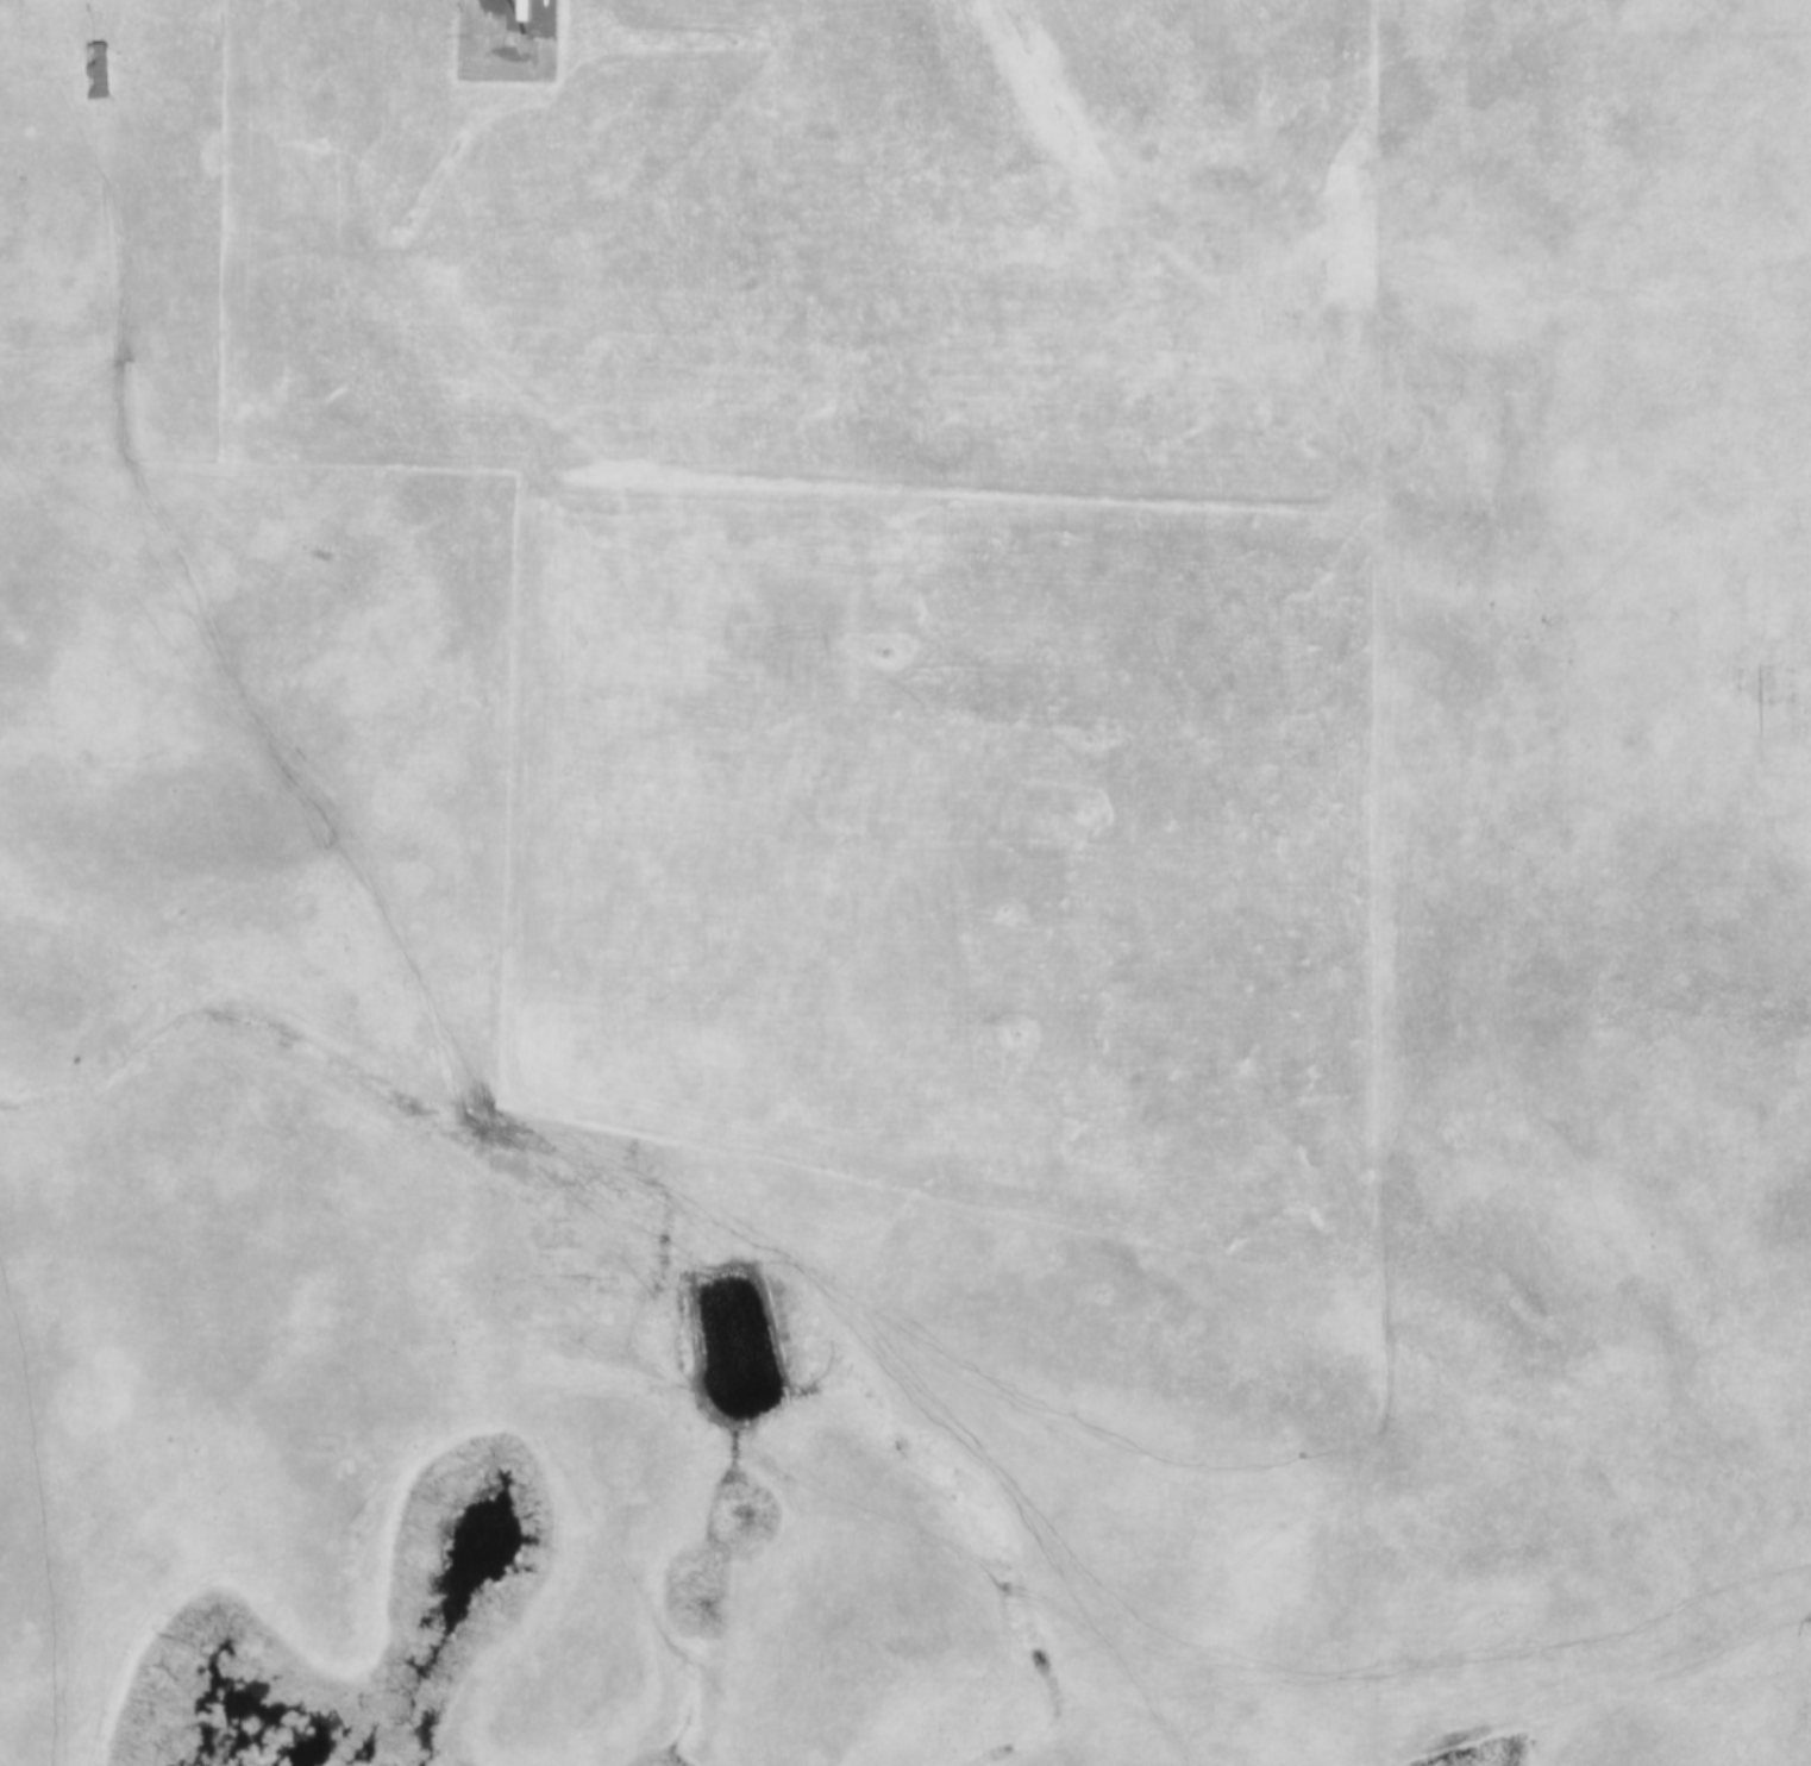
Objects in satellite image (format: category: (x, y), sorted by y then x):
storage tank: (512, 14)
building: (509, 37)
building: (93, 71)

